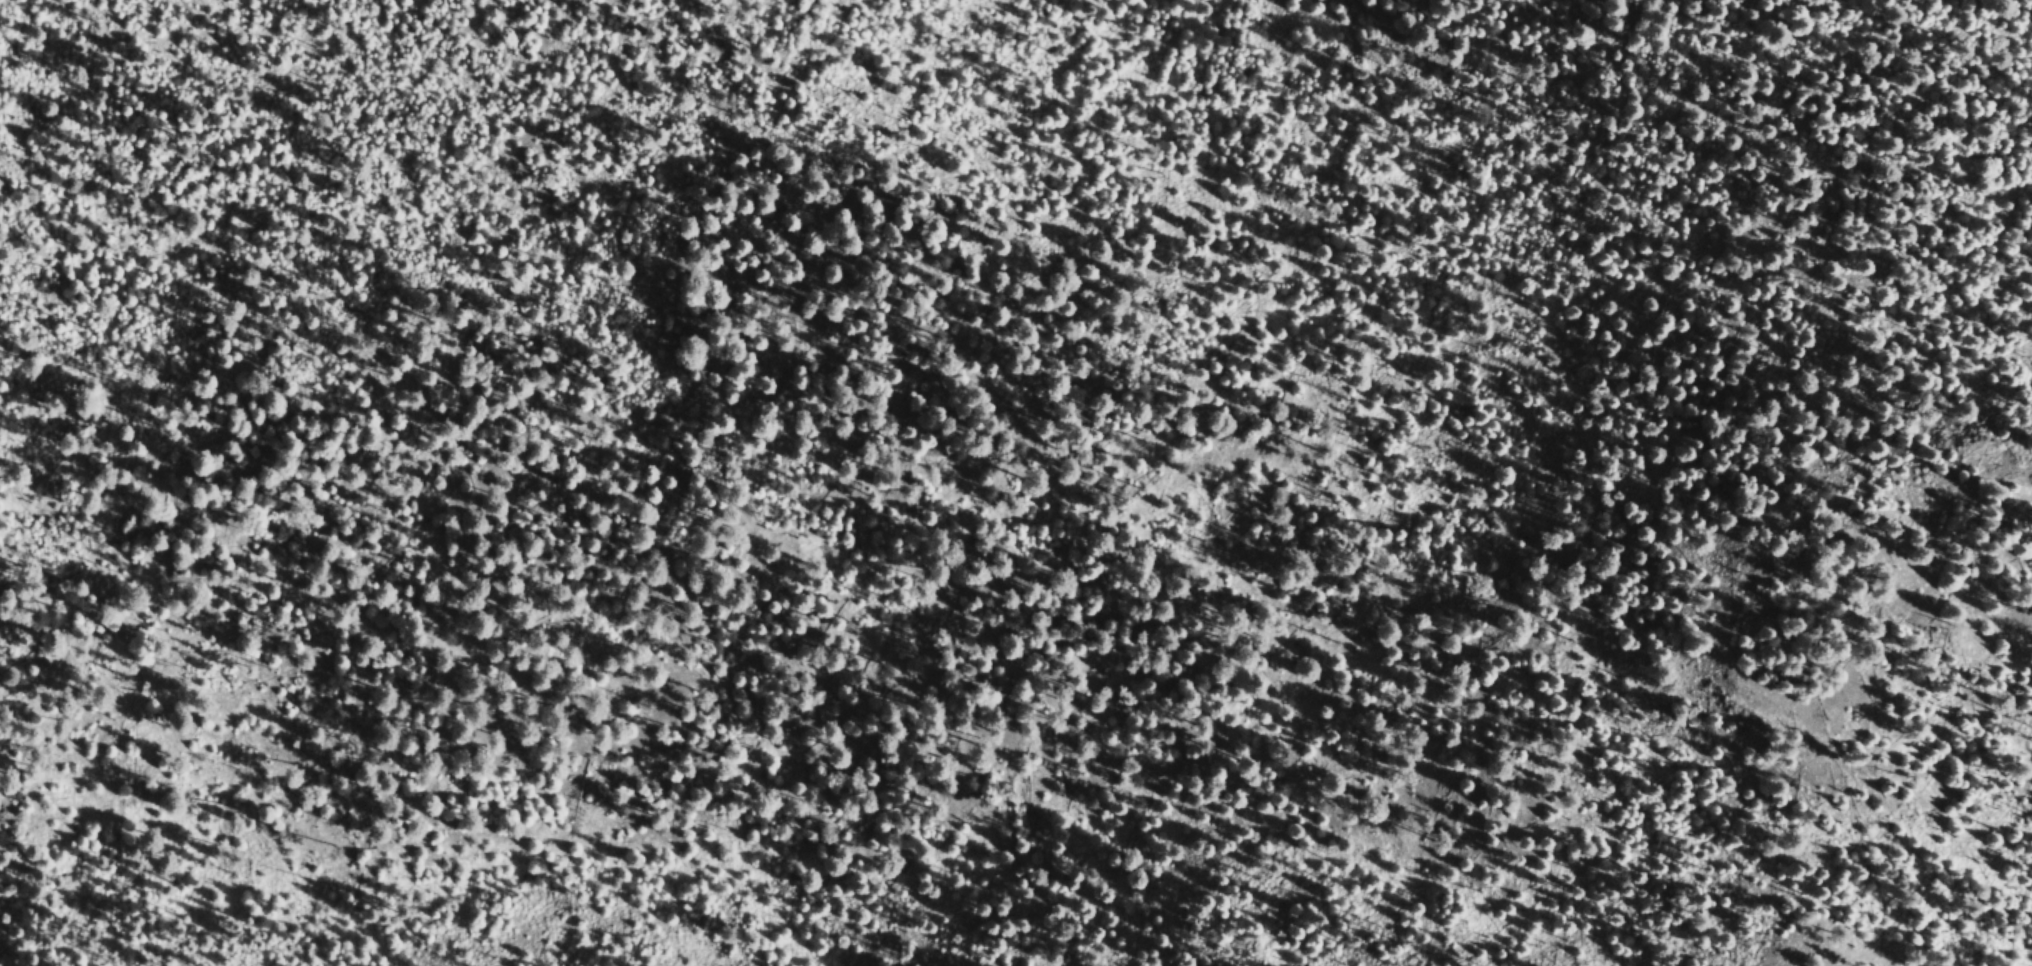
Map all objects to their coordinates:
road: (1945, 883)

